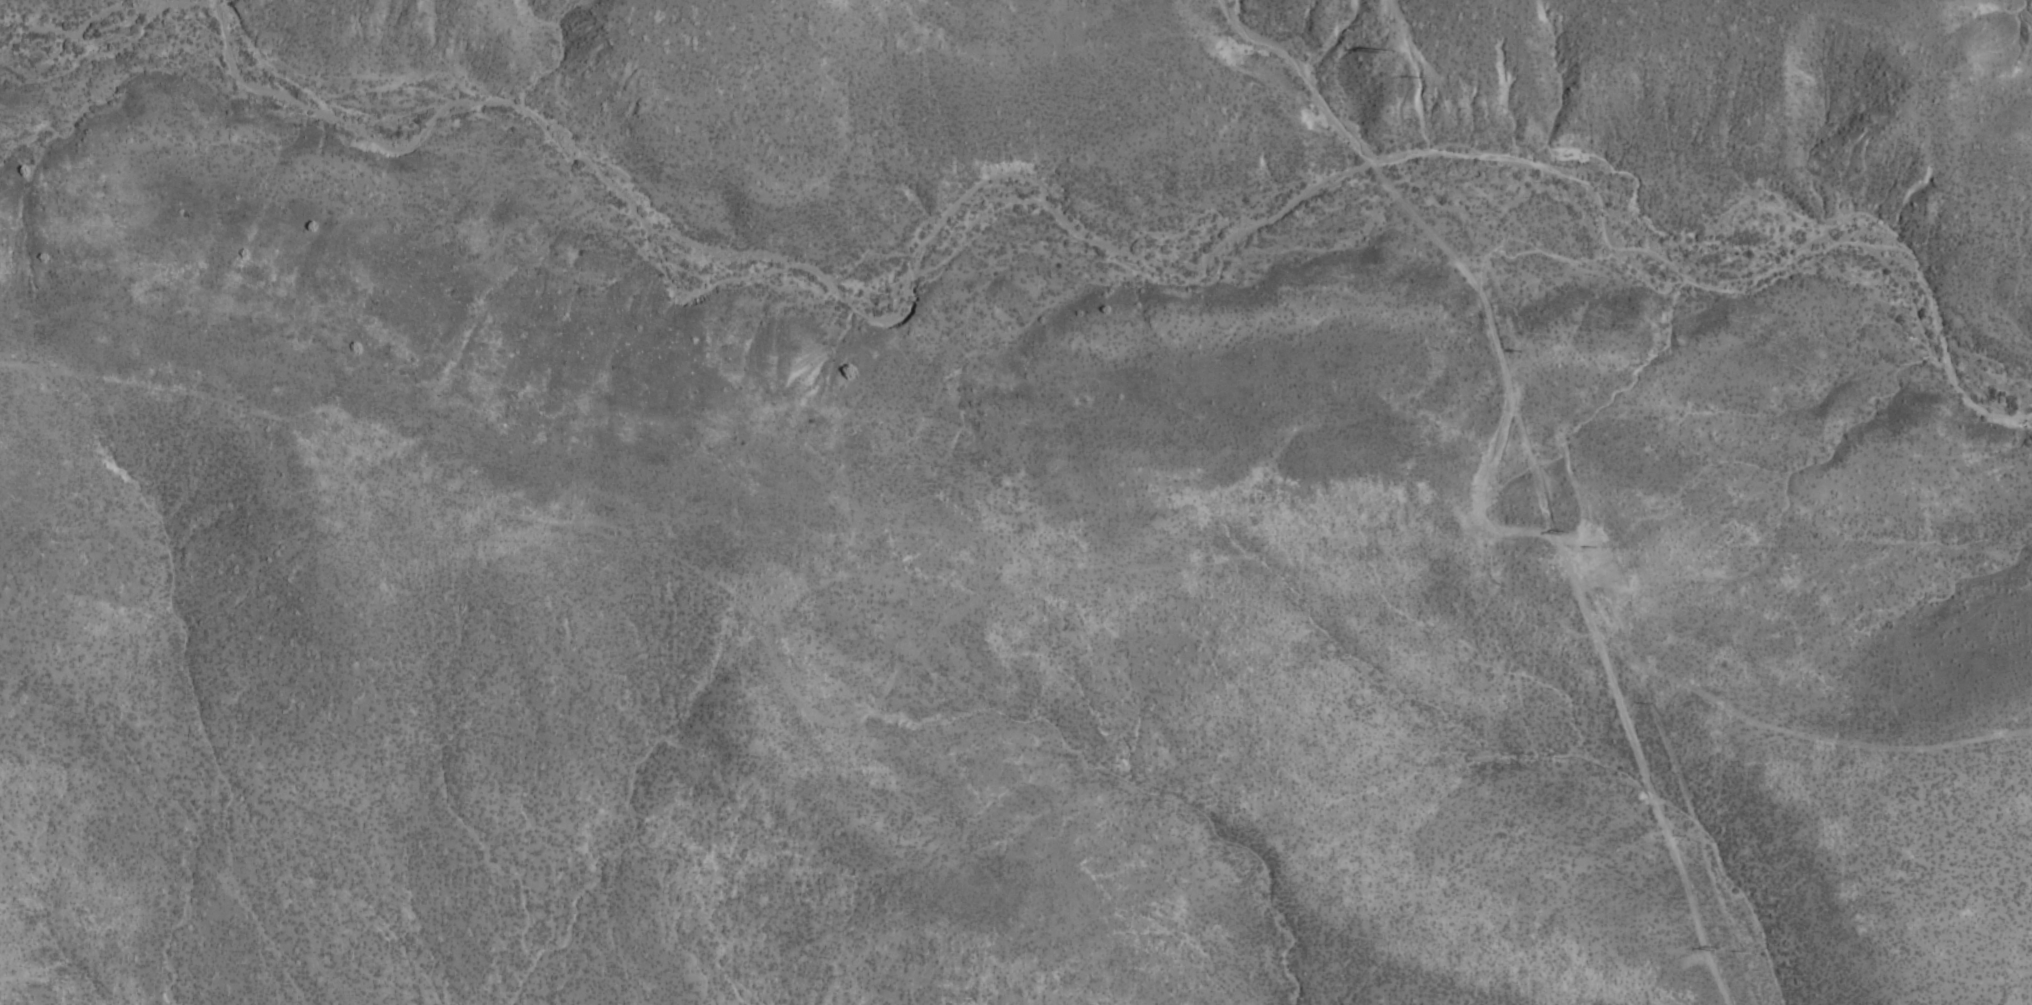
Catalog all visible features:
road: (1536, 463)

